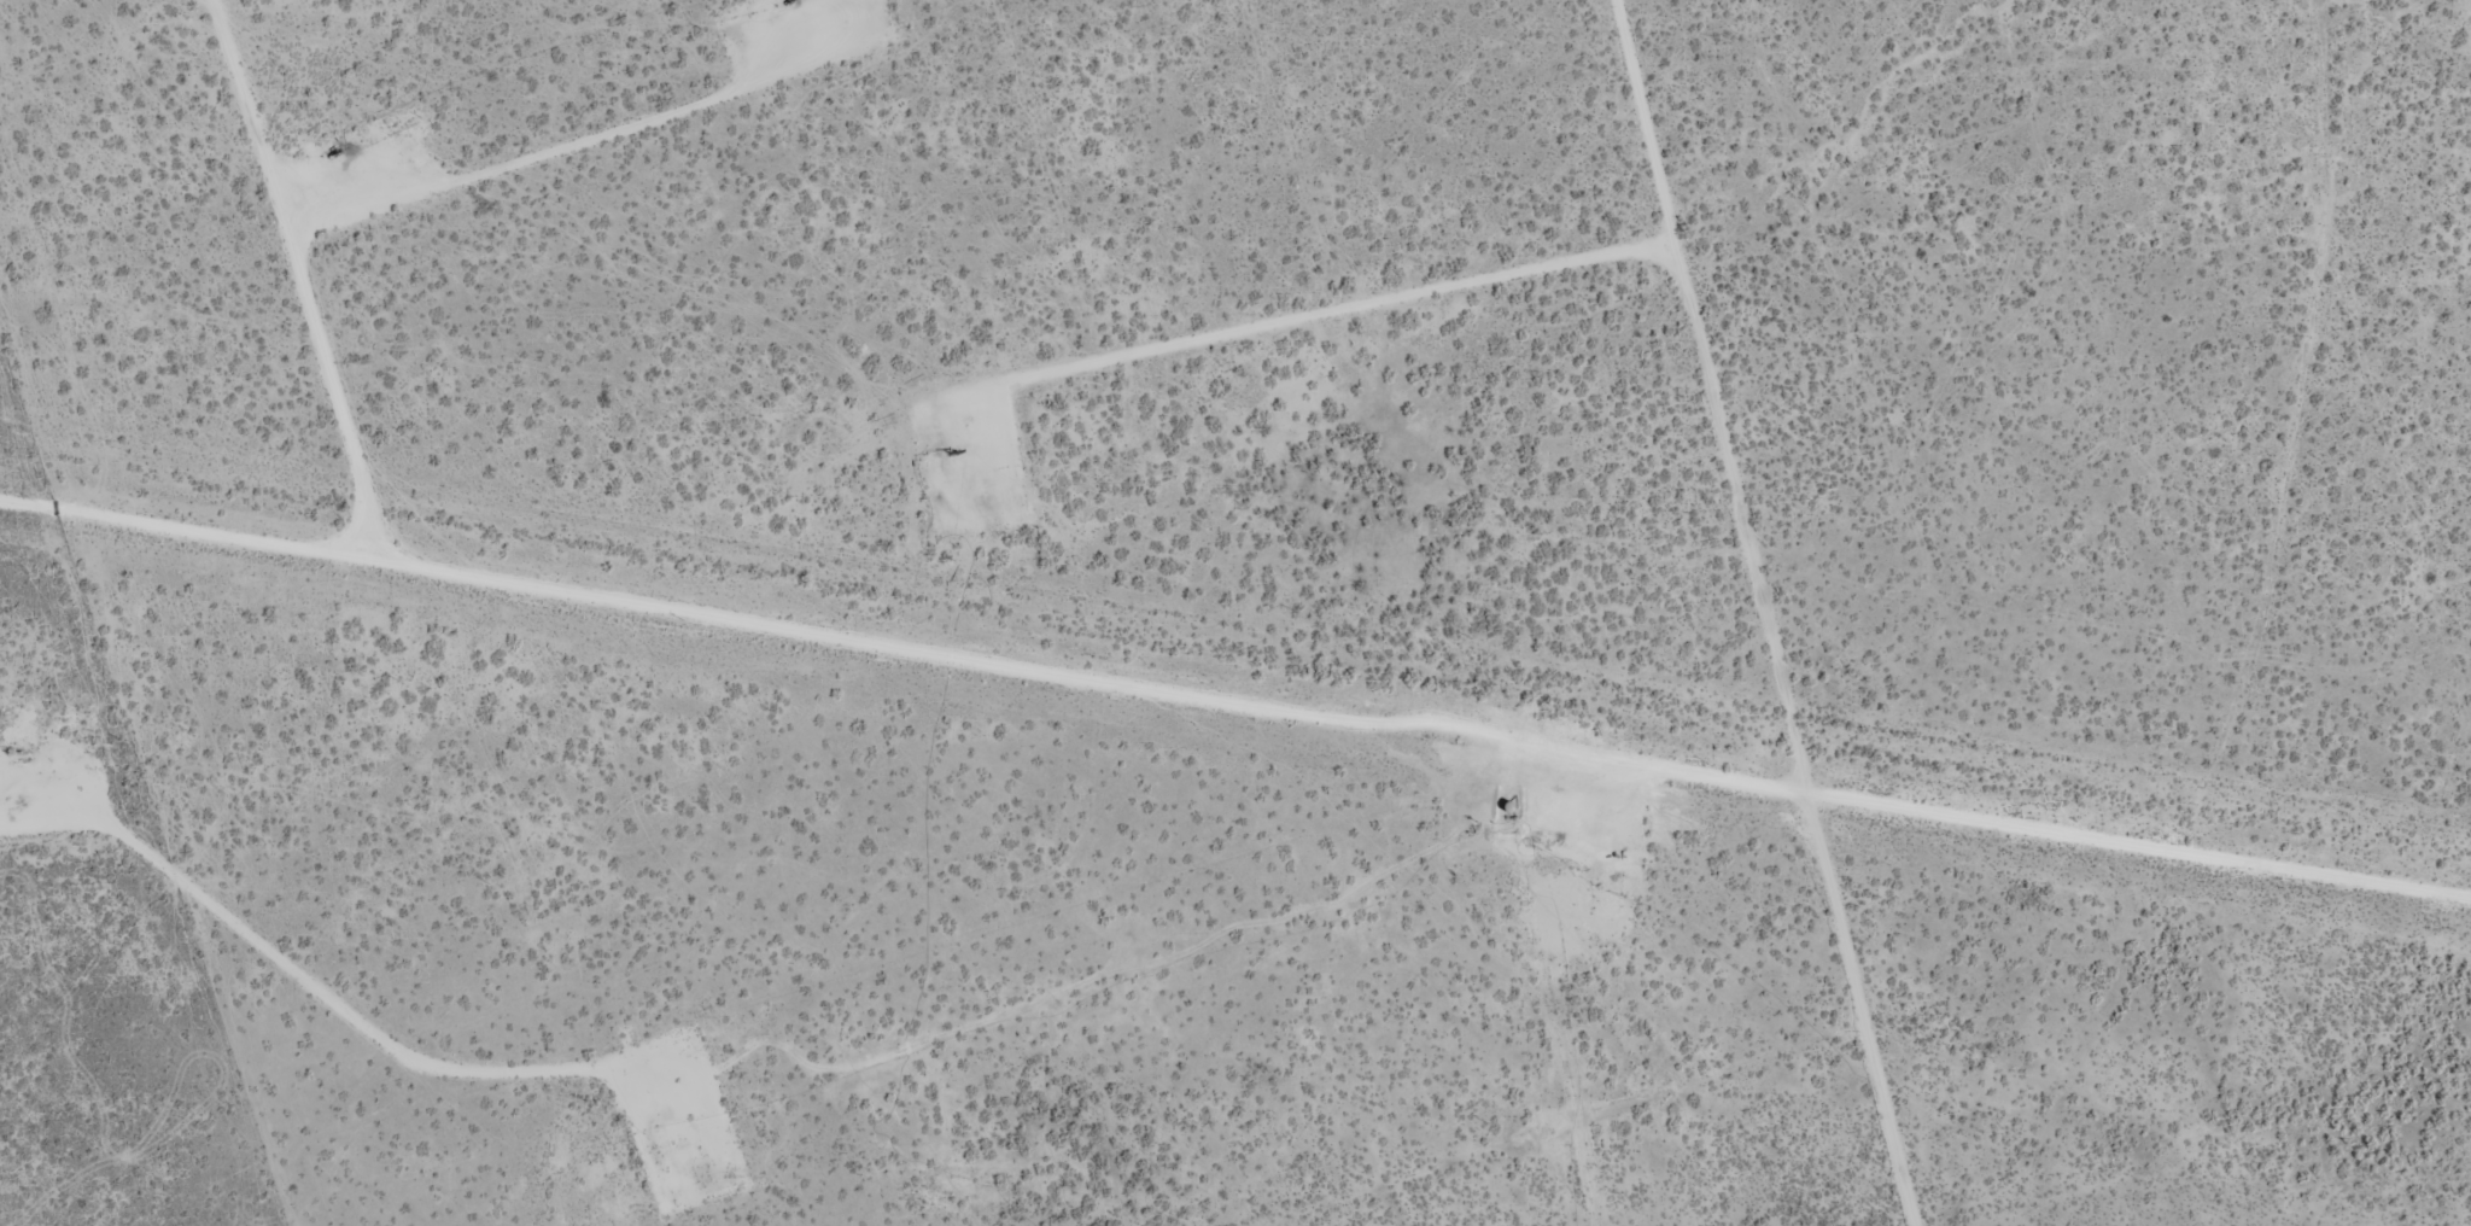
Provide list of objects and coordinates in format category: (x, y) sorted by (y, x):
road: (2231, 434)
road: (1708, 617)
road: (1235, 706)

